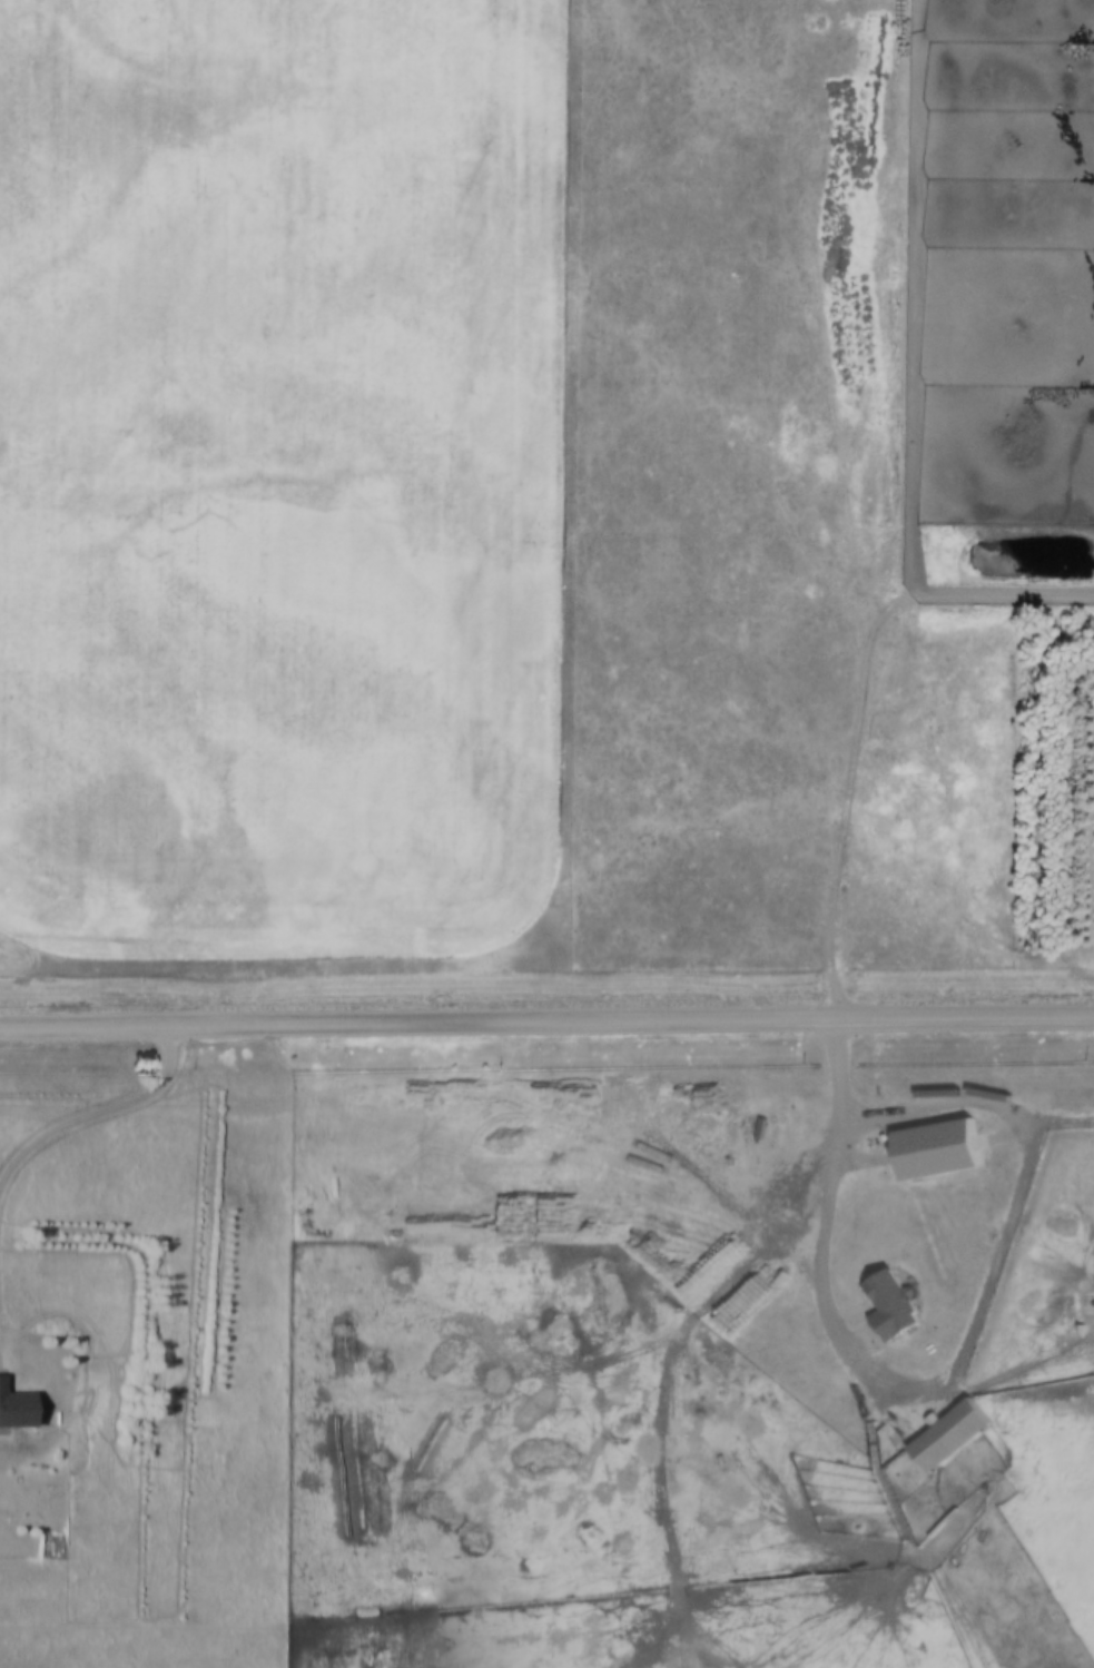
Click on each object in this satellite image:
road: (546, 1027)
road: (95, 1118)
building: (940, 1147)
building: (381, 1169)
building: (895, 1304)
building: (16, 1405)
building: (953, 1433)

